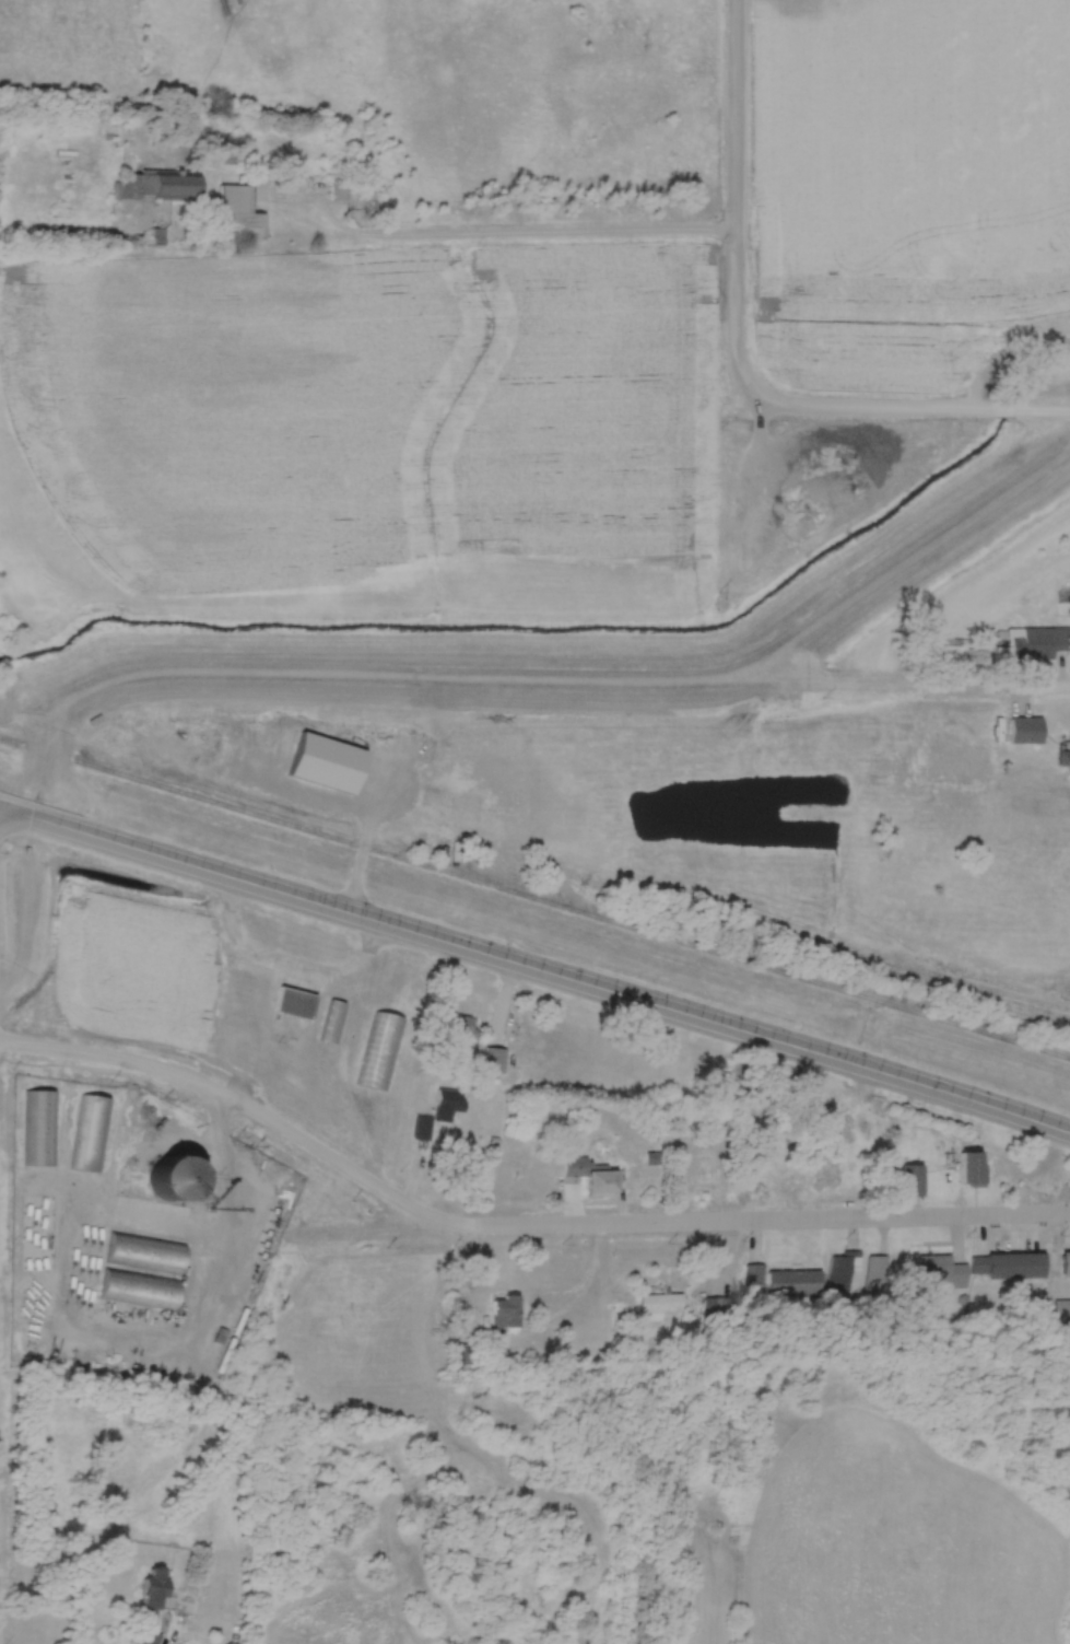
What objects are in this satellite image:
building: (158, 187)
road: (733, 202)
building: (240, 212)
road: (544, 238)
road: (910, 412)
building: (1035, 645)
building: (953, 651)
road: (546, 669)
building: (1024, 732)
building: (1063, 751)
road: (536, 968)
road: (283, 972)
building: (294, 1003)
building: (333, 1023)
building: (458, 1027)
building: (383, 1053)
building: (437, 1116)
building: (43, 1129)
building: (92, 1135)
building: (971, 1170)
building: (167, 1176)
building: (590, 1177)
building: (912, 1180)
building: (151, 1216)
road: (513, 1226)
road: (295, 1239)
building: (145, 1252)
road: (1054, 1260)
building: (1066, 1264)
building: (1010, 1268)
building: (942, 1273)
building: (882, 1275)
building: (847, 1279)
building: (791, 1282)
building: (140, 1290)
building: (663, 1305)
road: (575, 1306)
building: (505, 1313)
building: (505, 1515)
building: (150, 1590)
building: (150, 1639)

